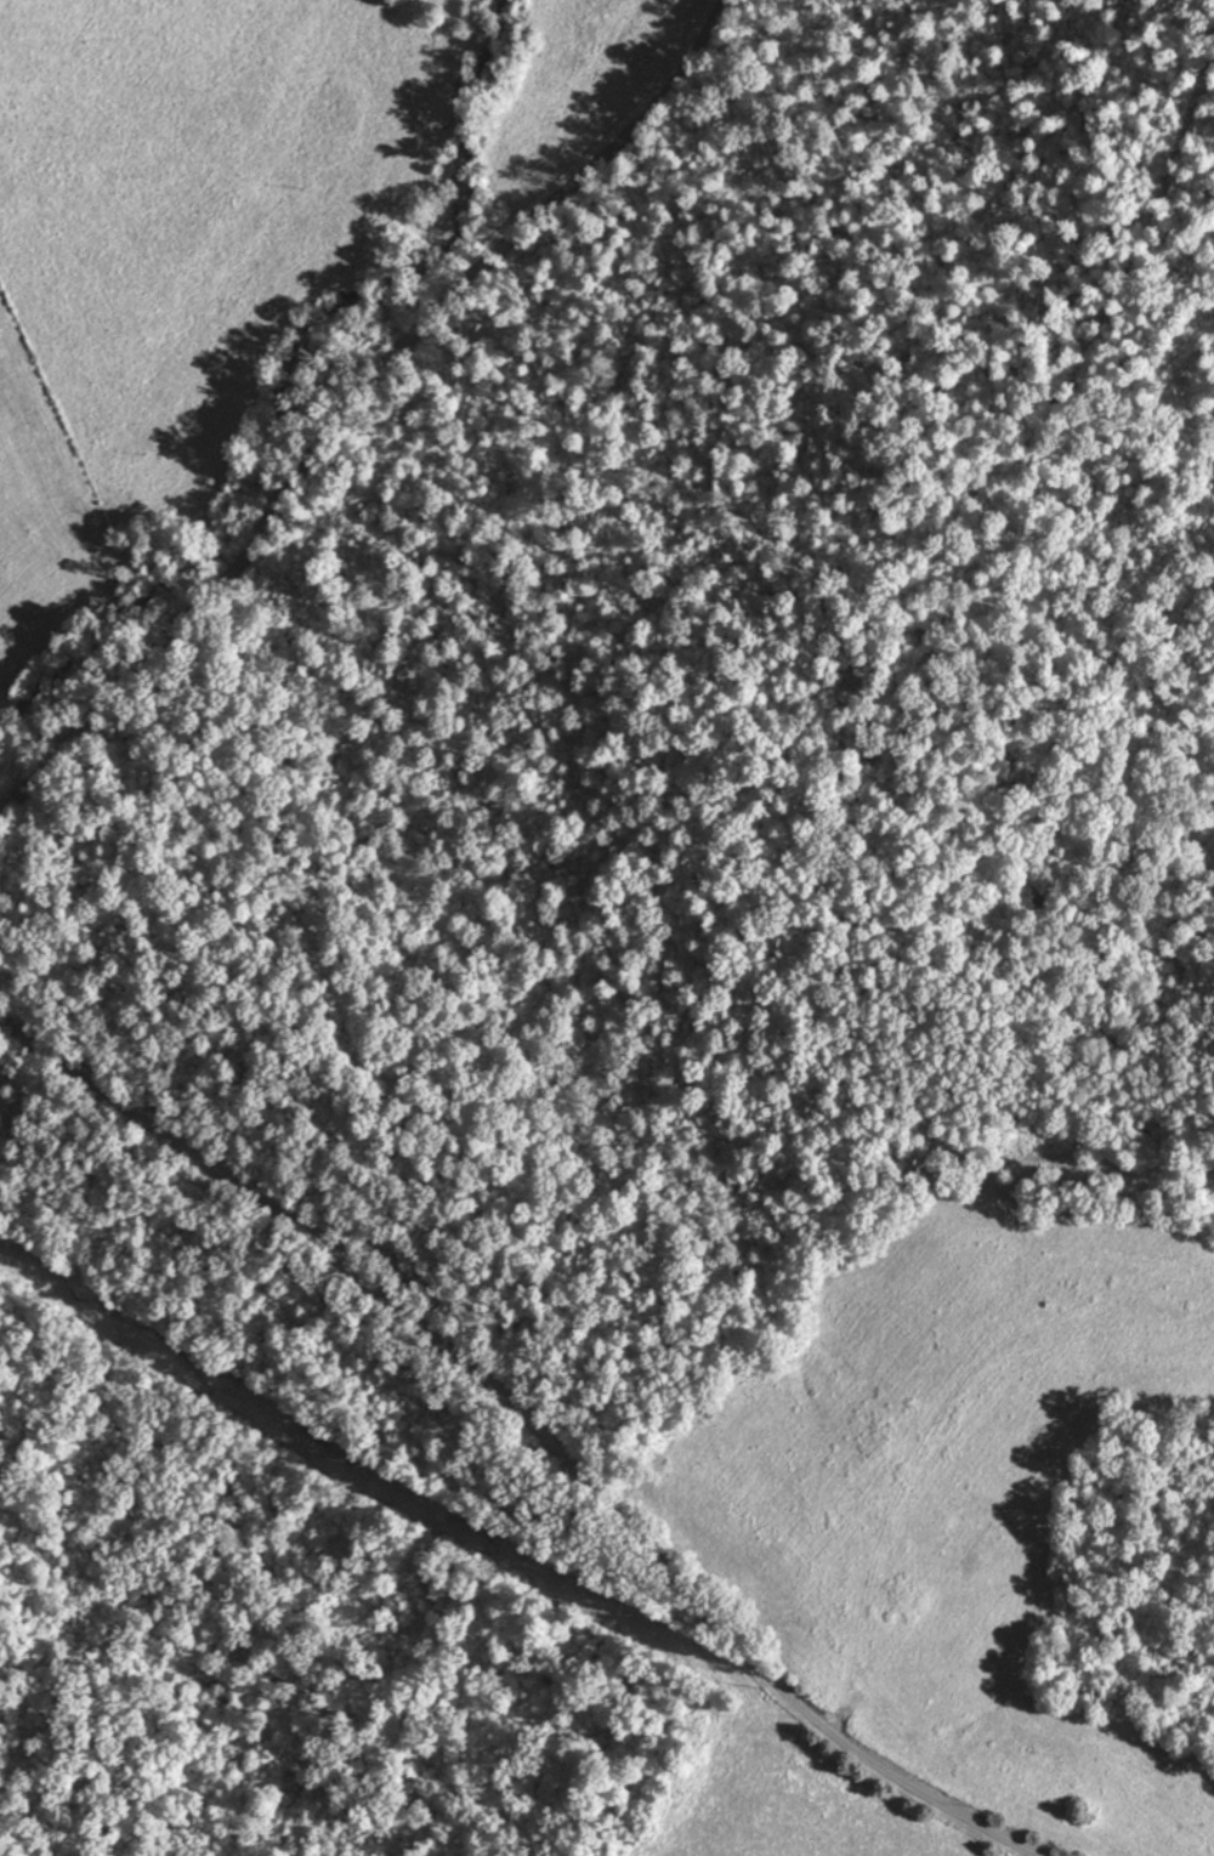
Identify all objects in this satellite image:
road: (384, 420)
road: (531, 1417)

